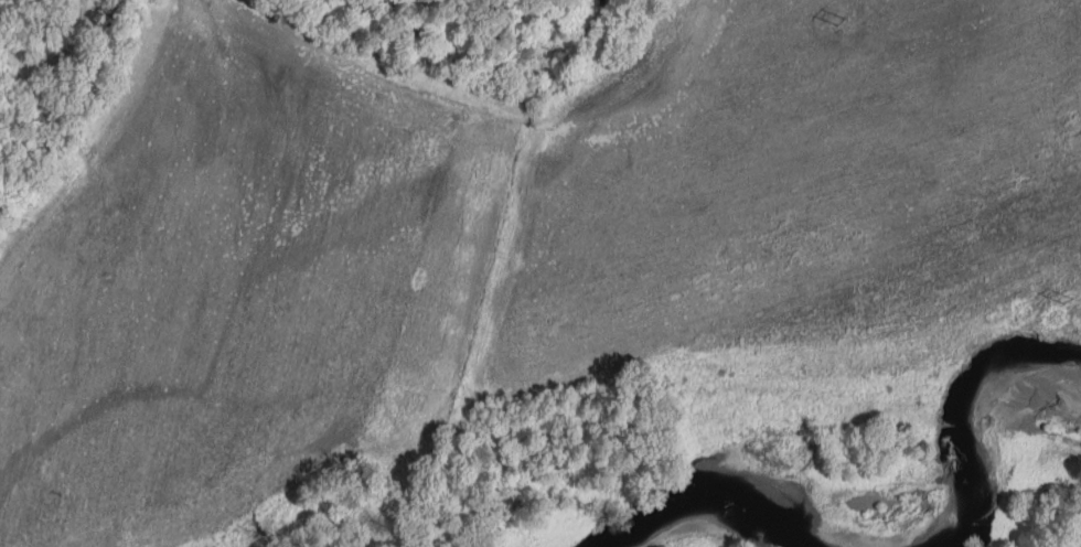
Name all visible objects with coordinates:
power tower: (838, 19)
river: (960, 428)
river: (726, 496)

